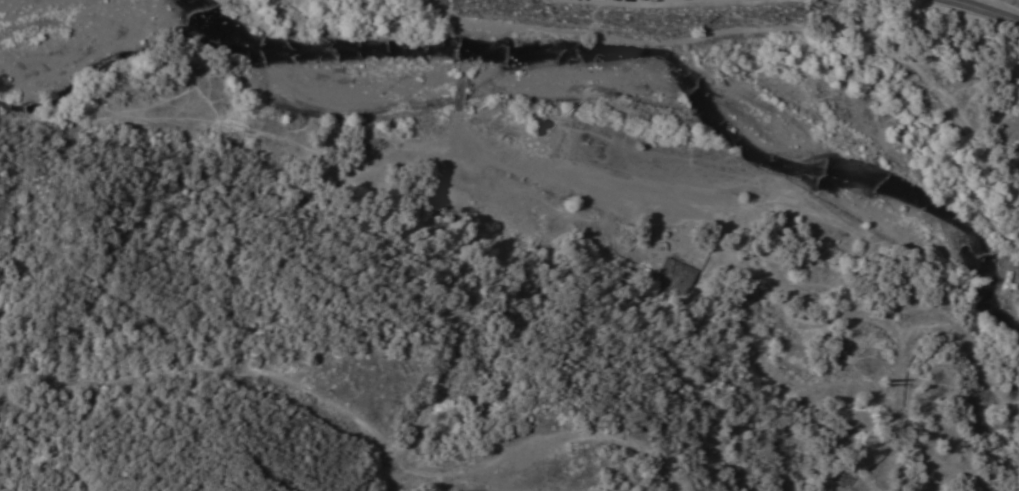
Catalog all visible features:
road: (985, 9)
road: (459, 27)
road: (462, 89)
river: (584, 90)
building: (371, 143)
road: (579, 197)
building: (678, 271)
road: (782, 322)
building: (831, 345)
road: (974, 352)
road: (896, 429)
road: (617, 441)

